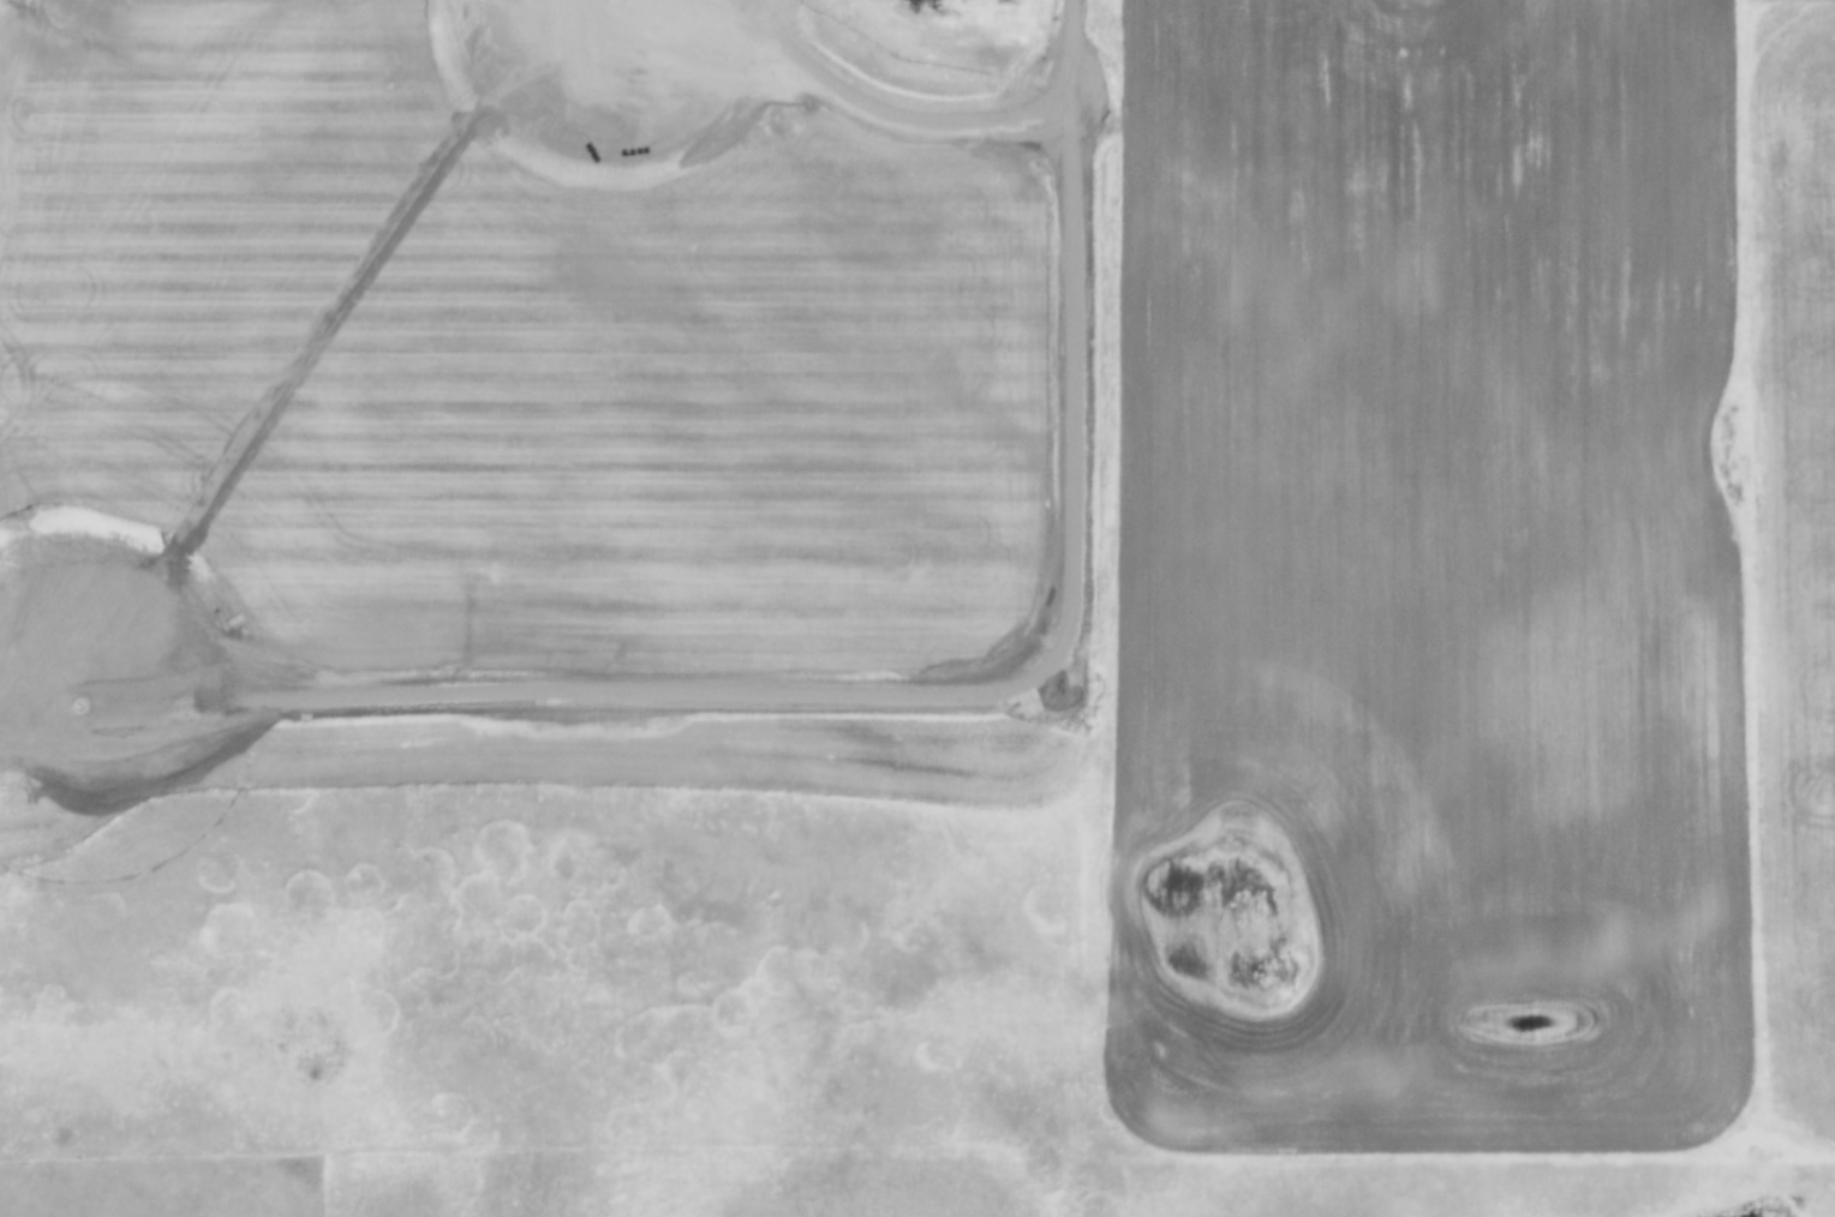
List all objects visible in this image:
road: (1118, 607)
wind turbine: (74, 712)

